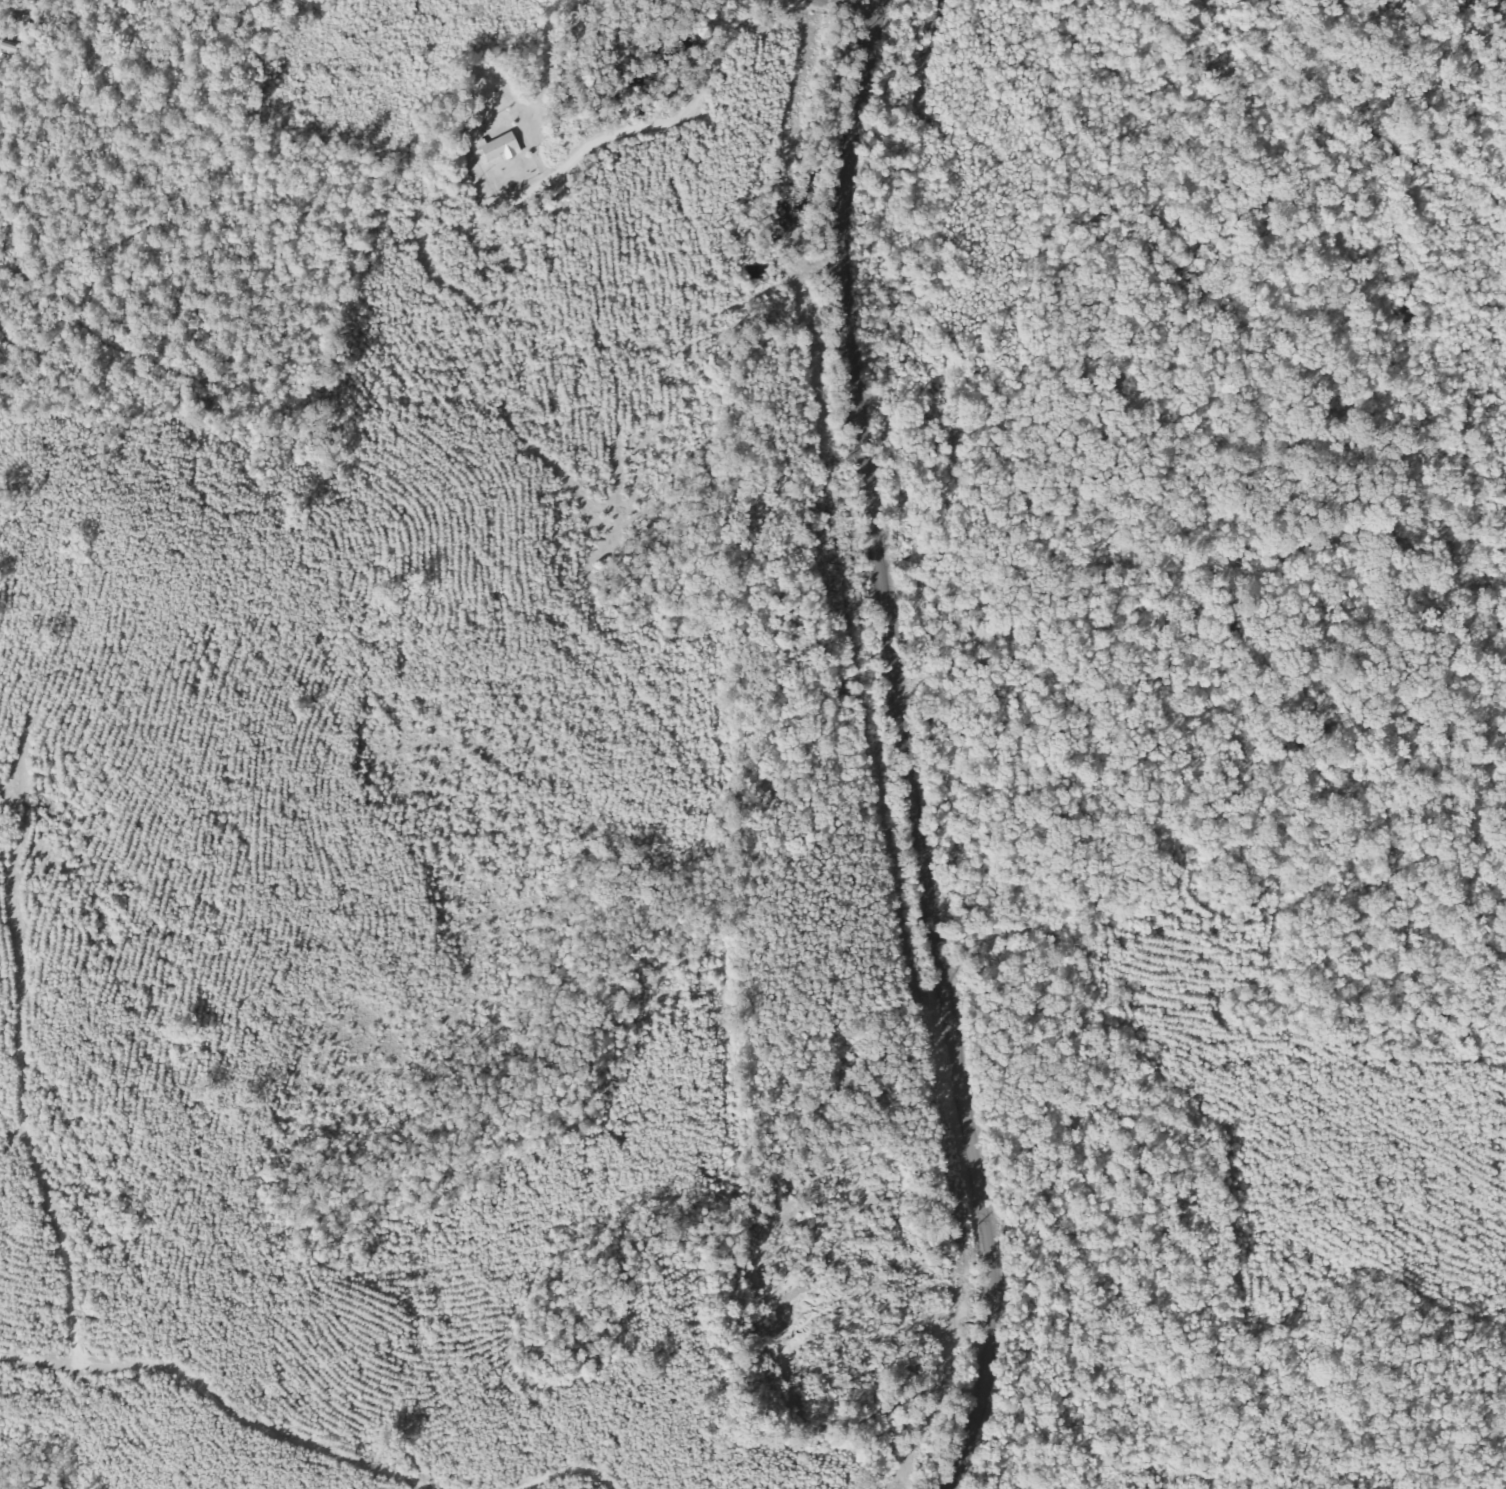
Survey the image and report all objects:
road: (796, 14)
building: (503, 148)
road: (859, 750)

